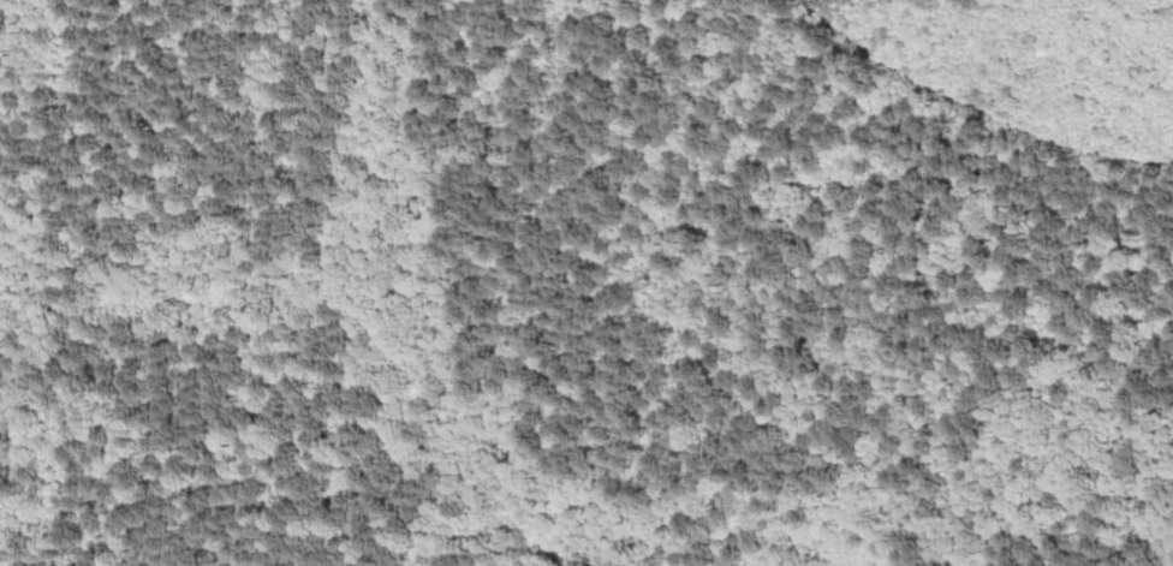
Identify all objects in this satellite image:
road: (889, 46)

